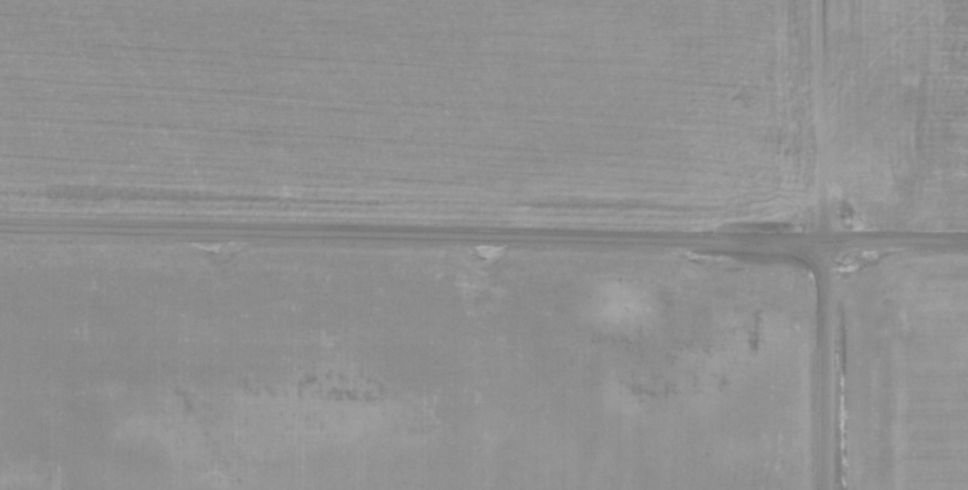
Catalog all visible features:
crop: (488, 109)
road: (483, 234)
road: (823, 365)
crop: (400, 368)
crop: (909, 372)

